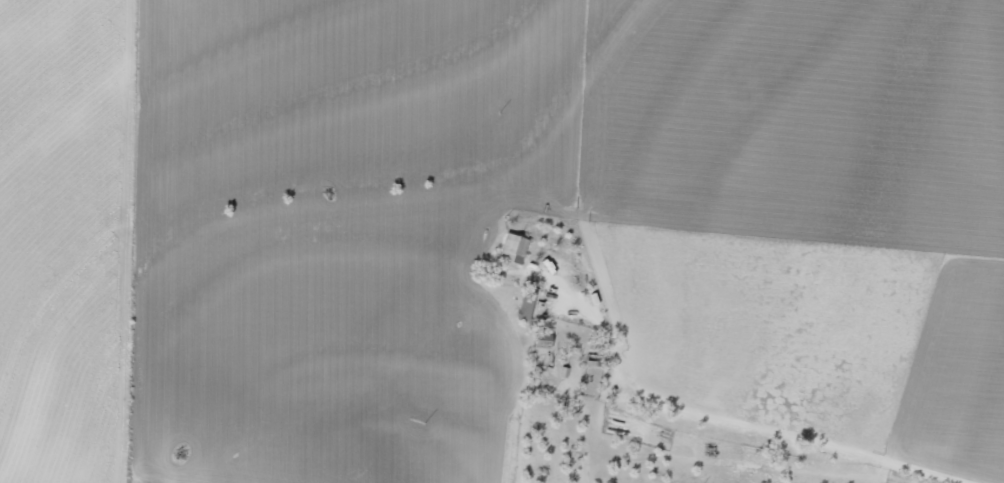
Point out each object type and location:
building: (515, 247)
building: (526, 314)
road: (744, 459)

